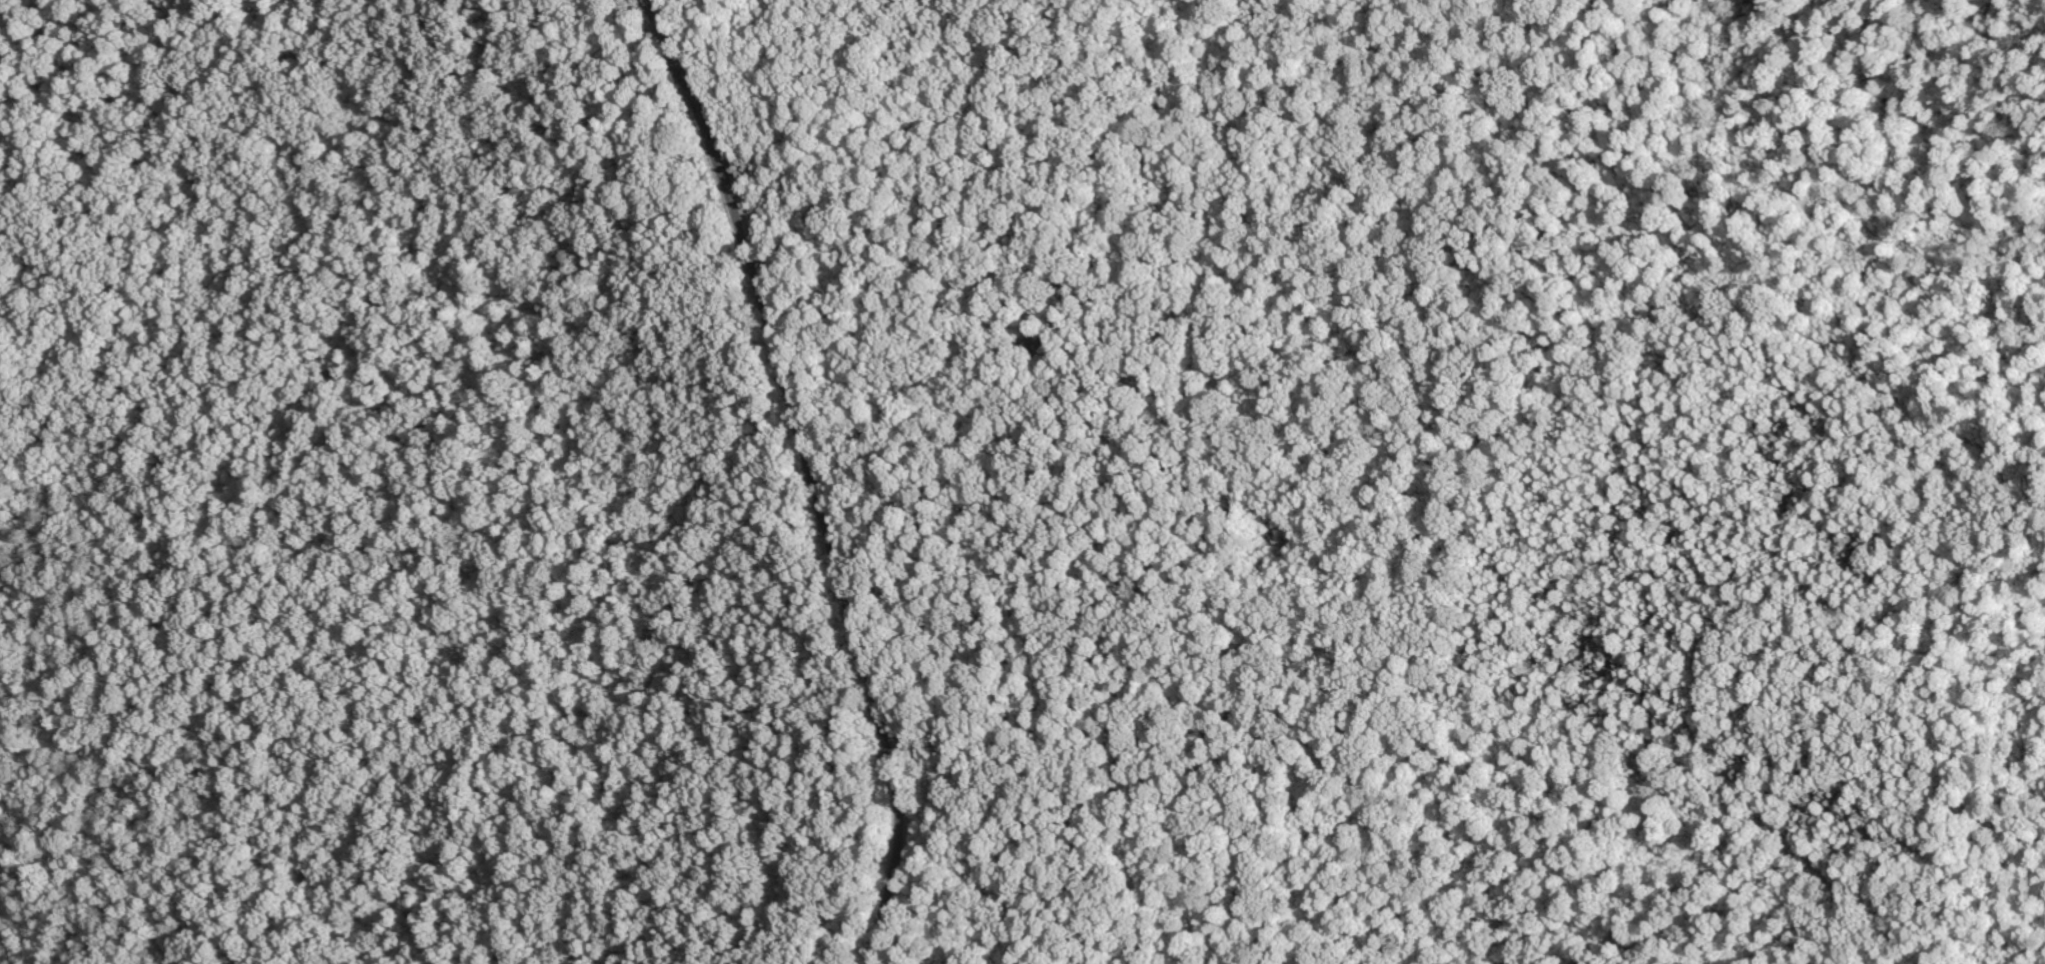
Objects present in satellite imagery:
road: (812, 476)

